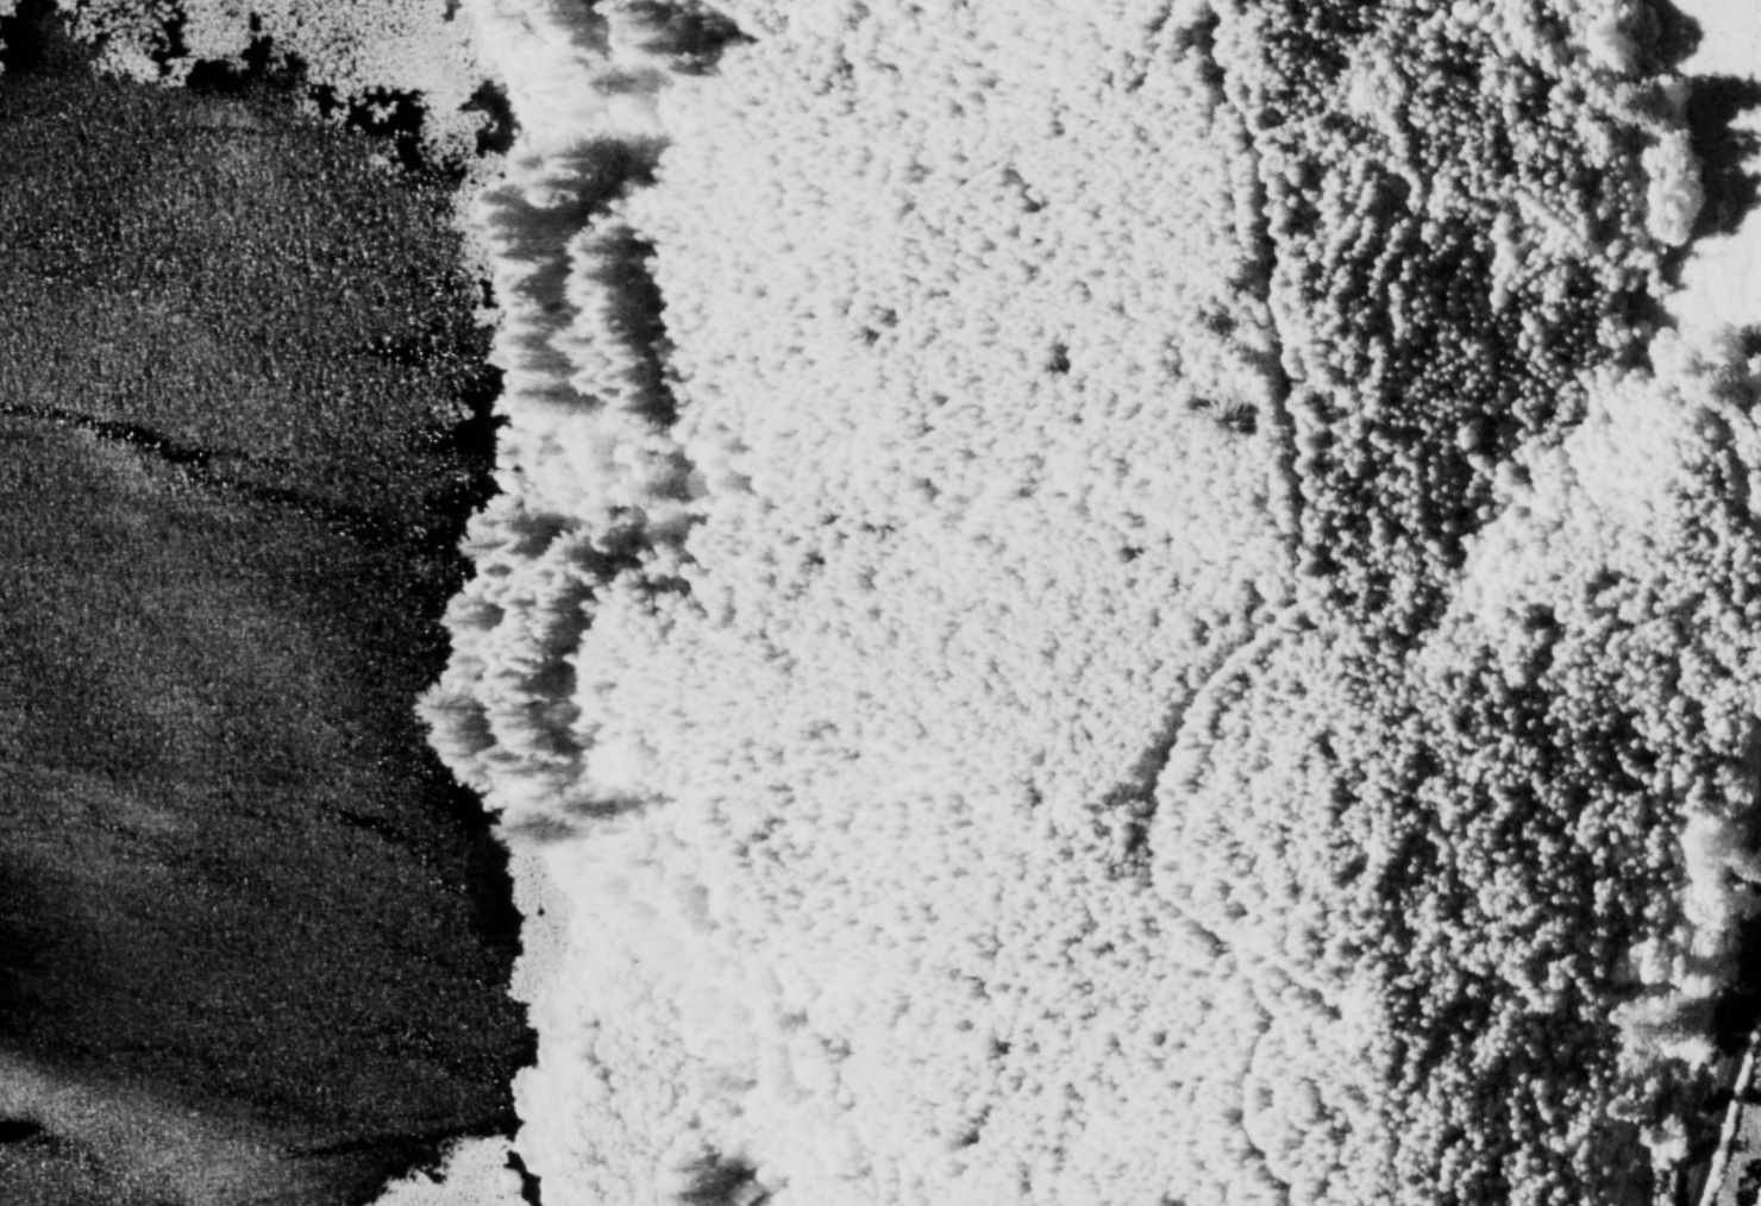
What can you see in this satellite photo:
railway: (1713, 1050)

